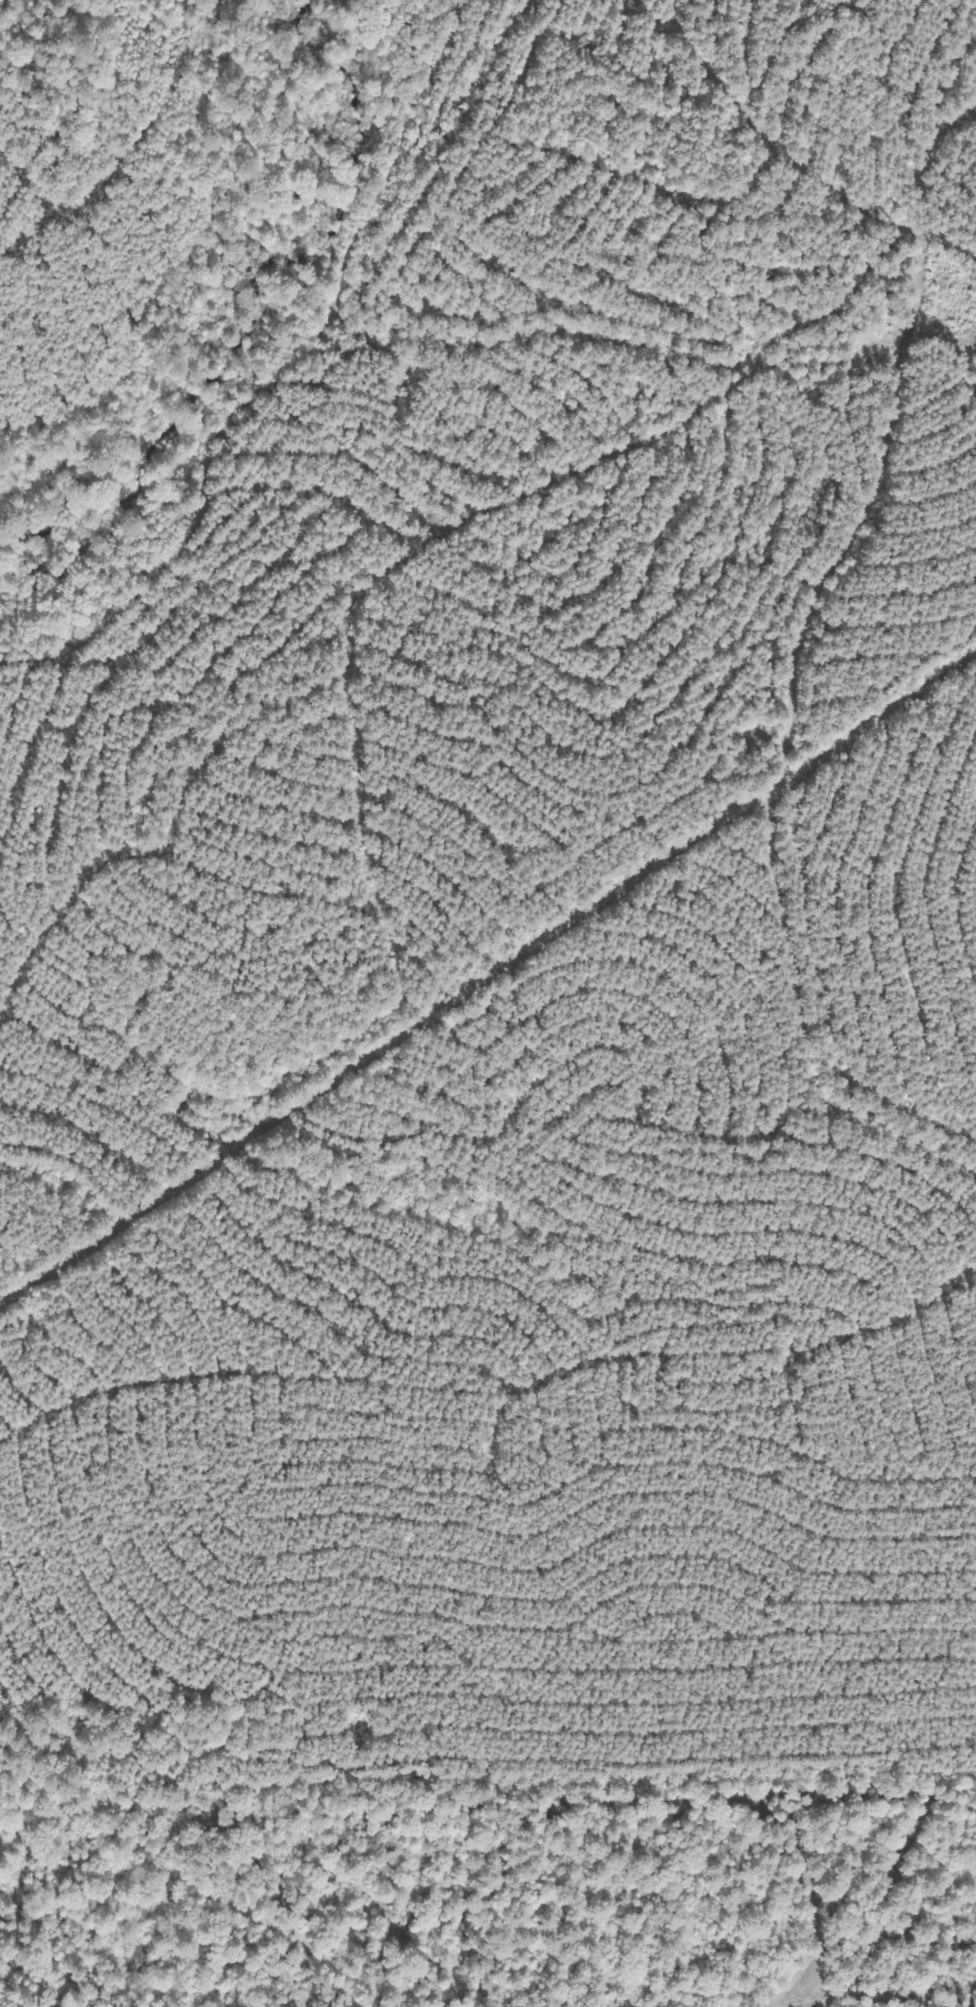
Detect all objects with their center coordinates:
road: (881, 701)

